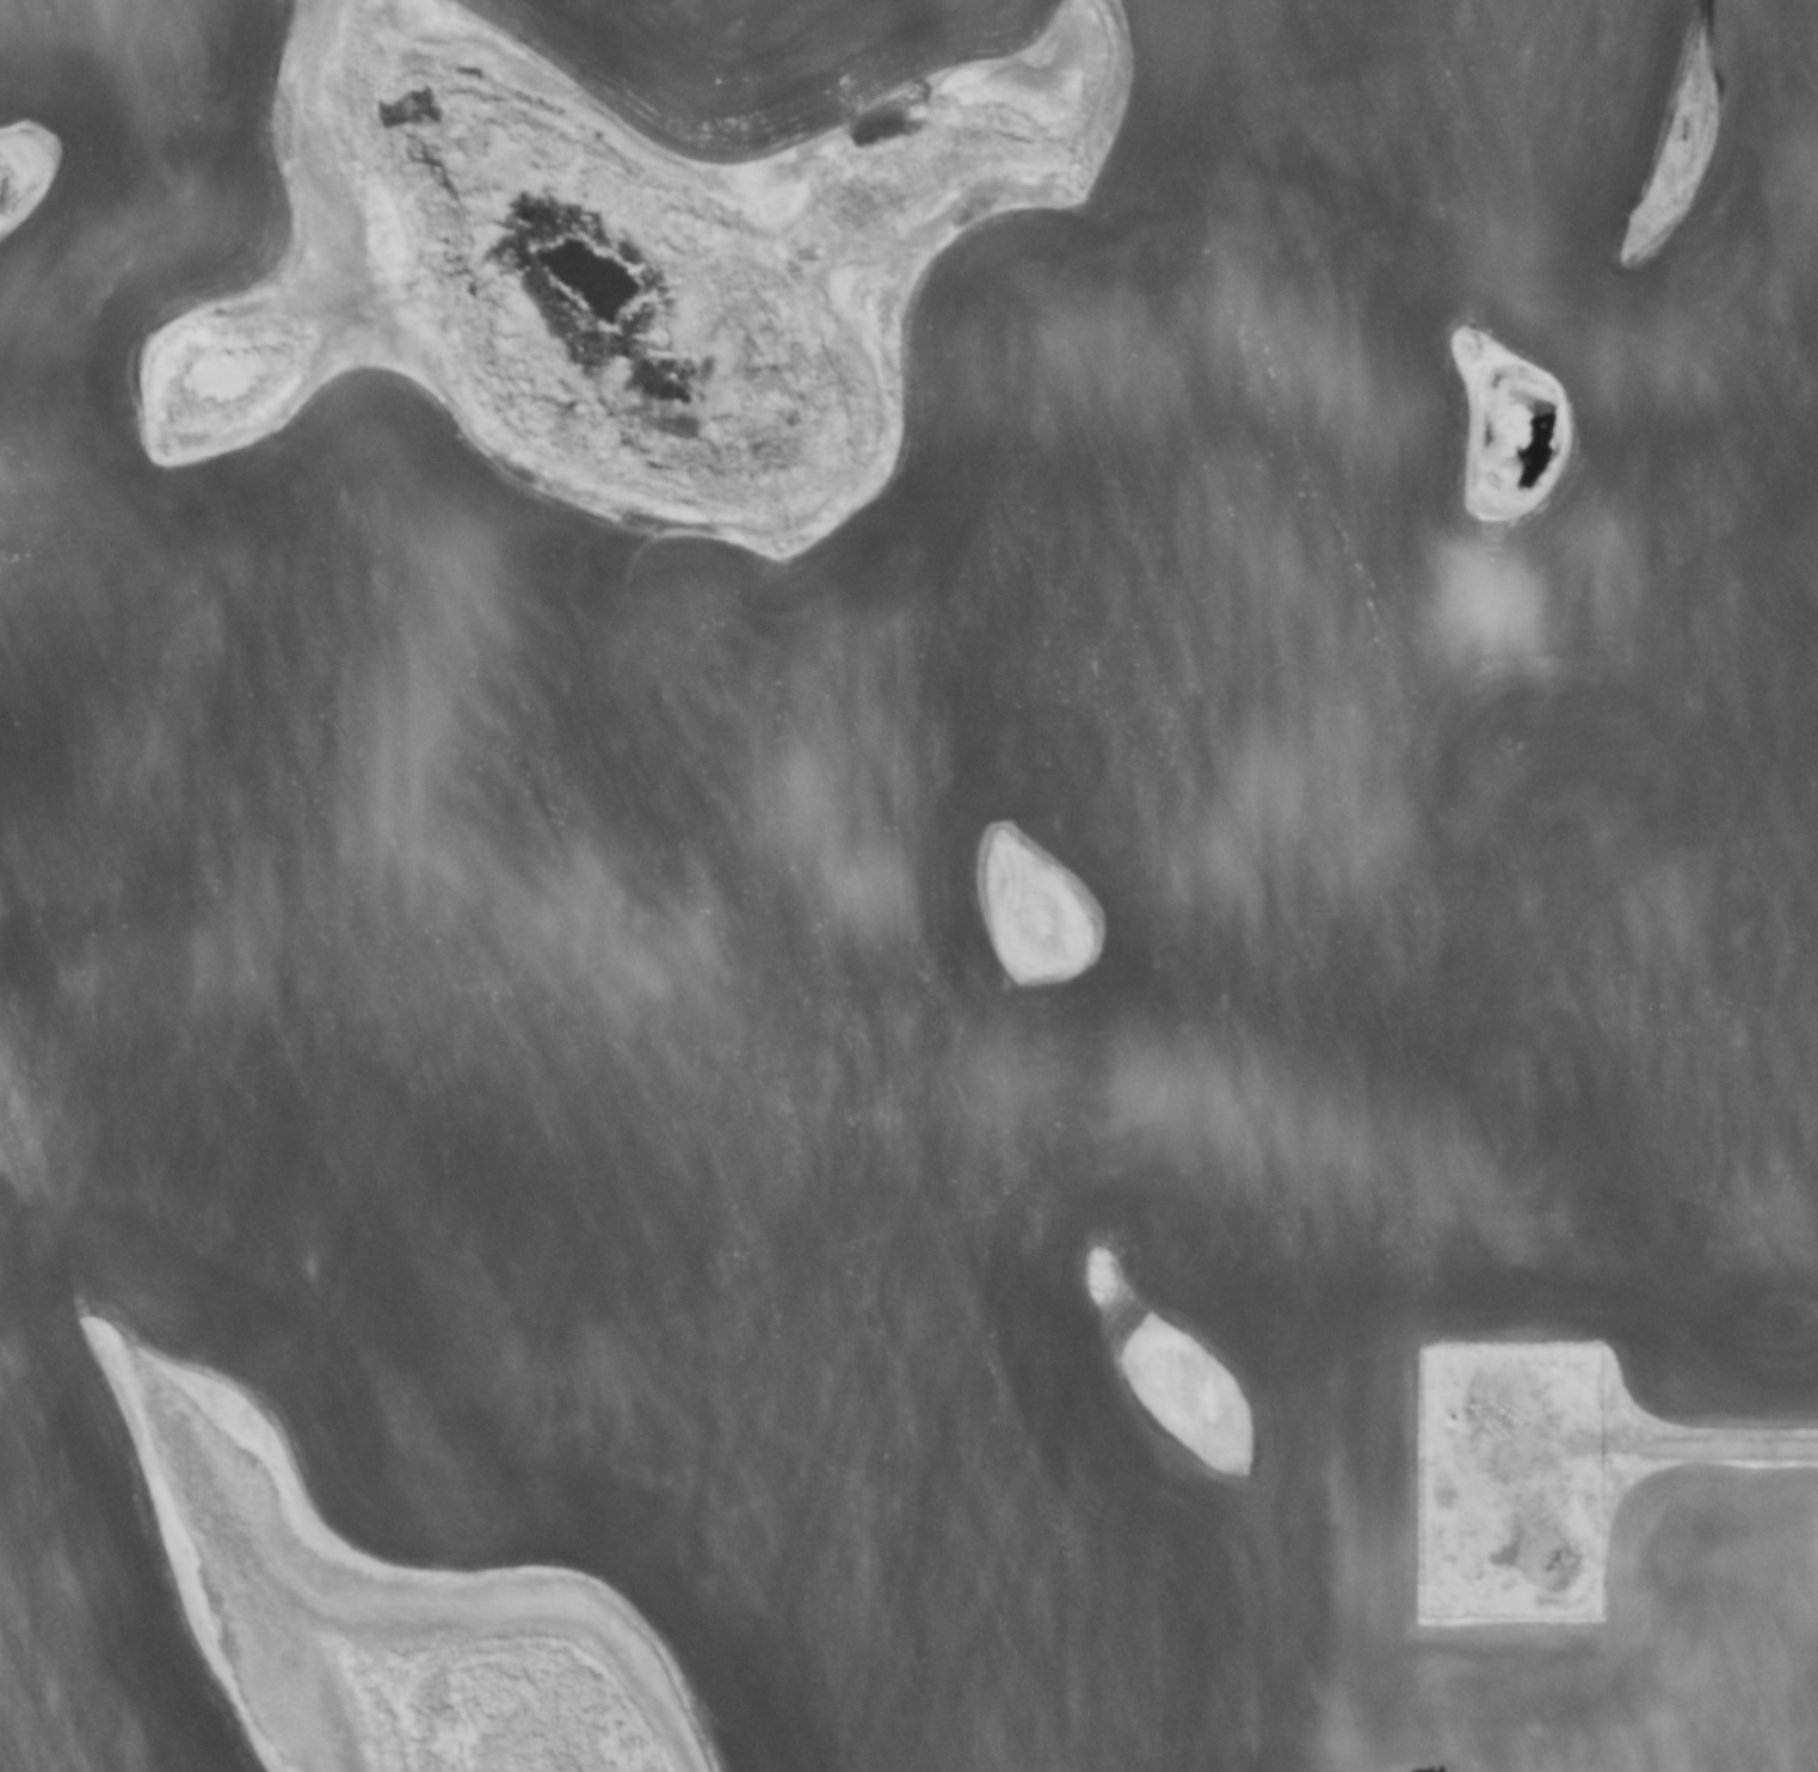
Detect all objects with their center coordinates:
road: (1637, 1450)

